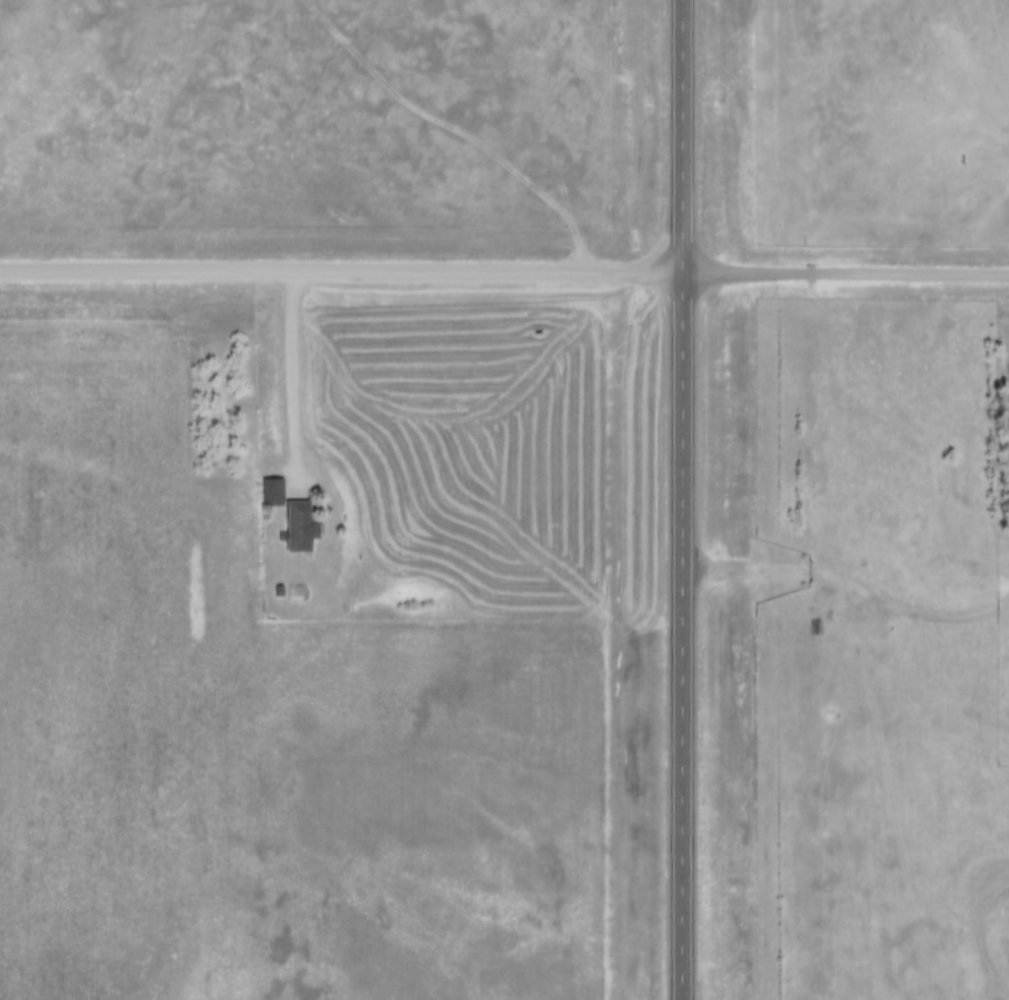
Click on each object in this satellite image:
road: (456, 129)
road: (504, 274)
road: (293, 380)
road: (684, 500)
building: (286, 507)
road: (851, 588)

